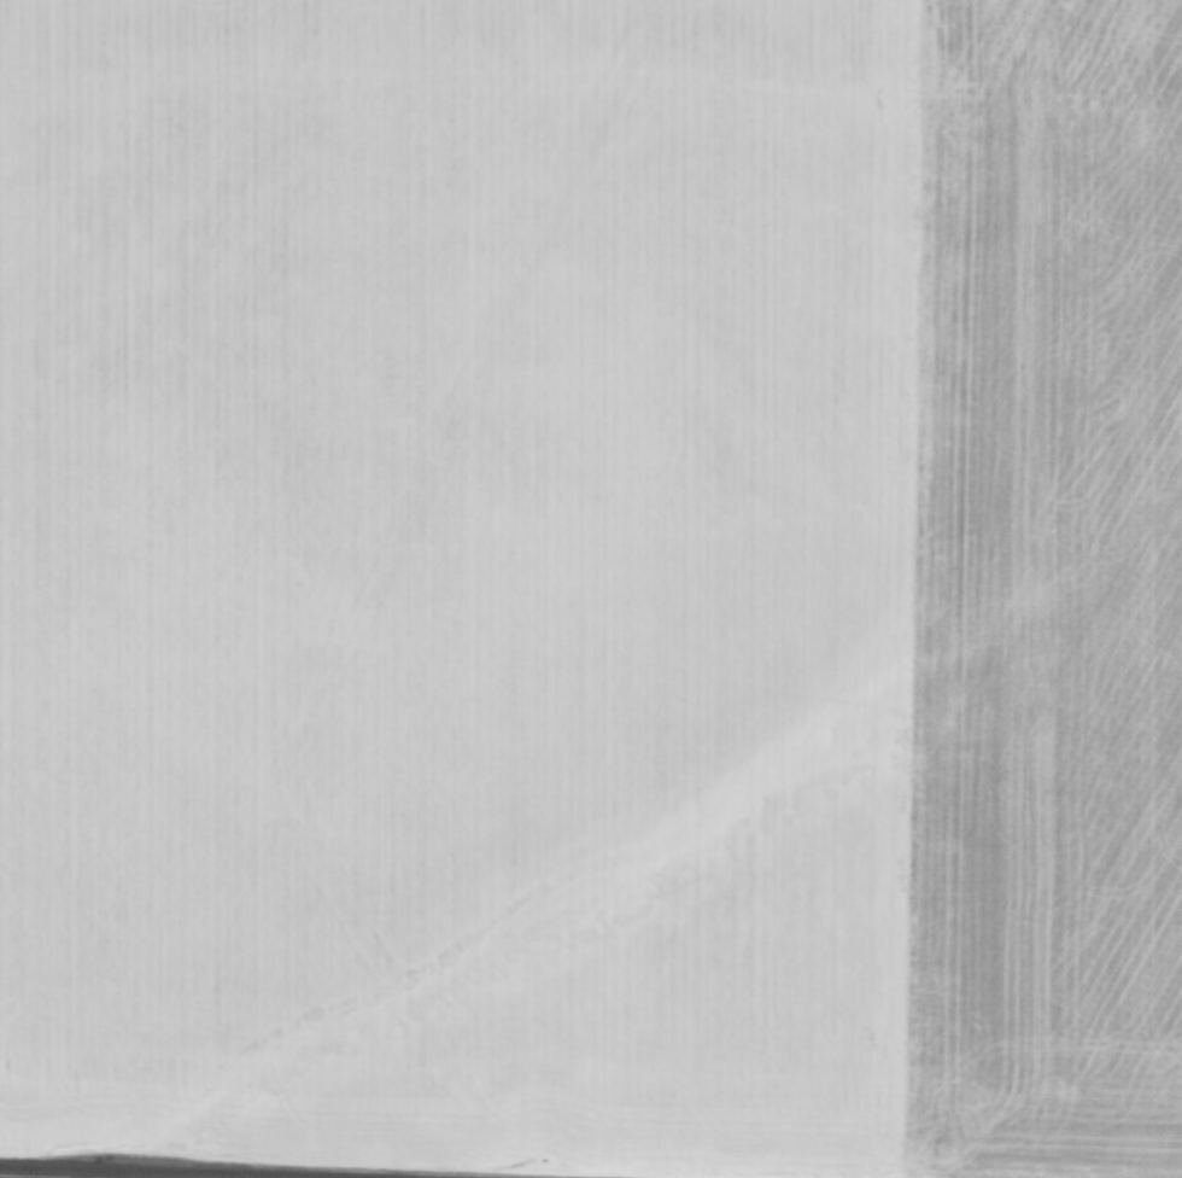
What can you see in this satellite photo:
road: (246, 1170)

